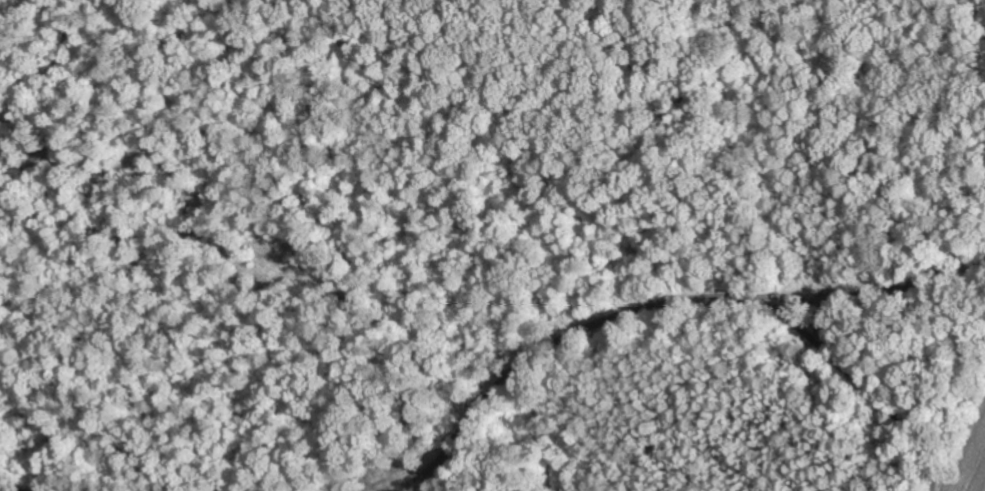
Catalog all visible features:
road: (646, 302)
road: (864, 383)
road: (61, 486)

